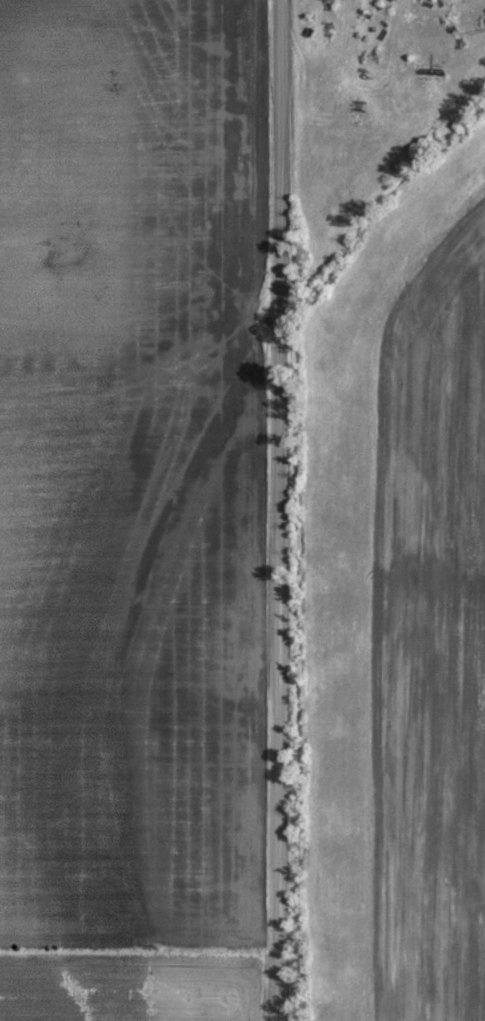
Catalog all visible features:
road: (279, 510)

